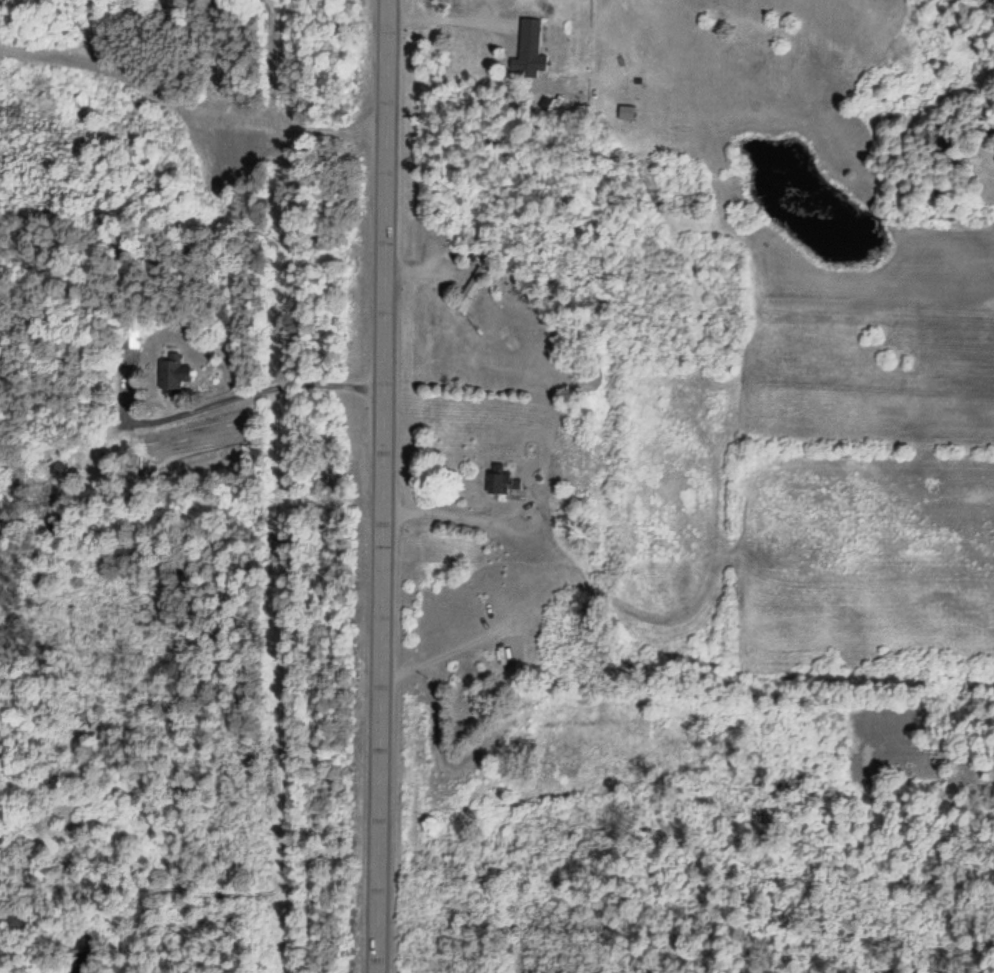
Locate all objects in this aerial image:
building: (528, 48)
building: (470, 290)
building: (134, 339)
building: (174, 376)
road: (186, 393)
building: (498, 479)
road: (382, 486)

